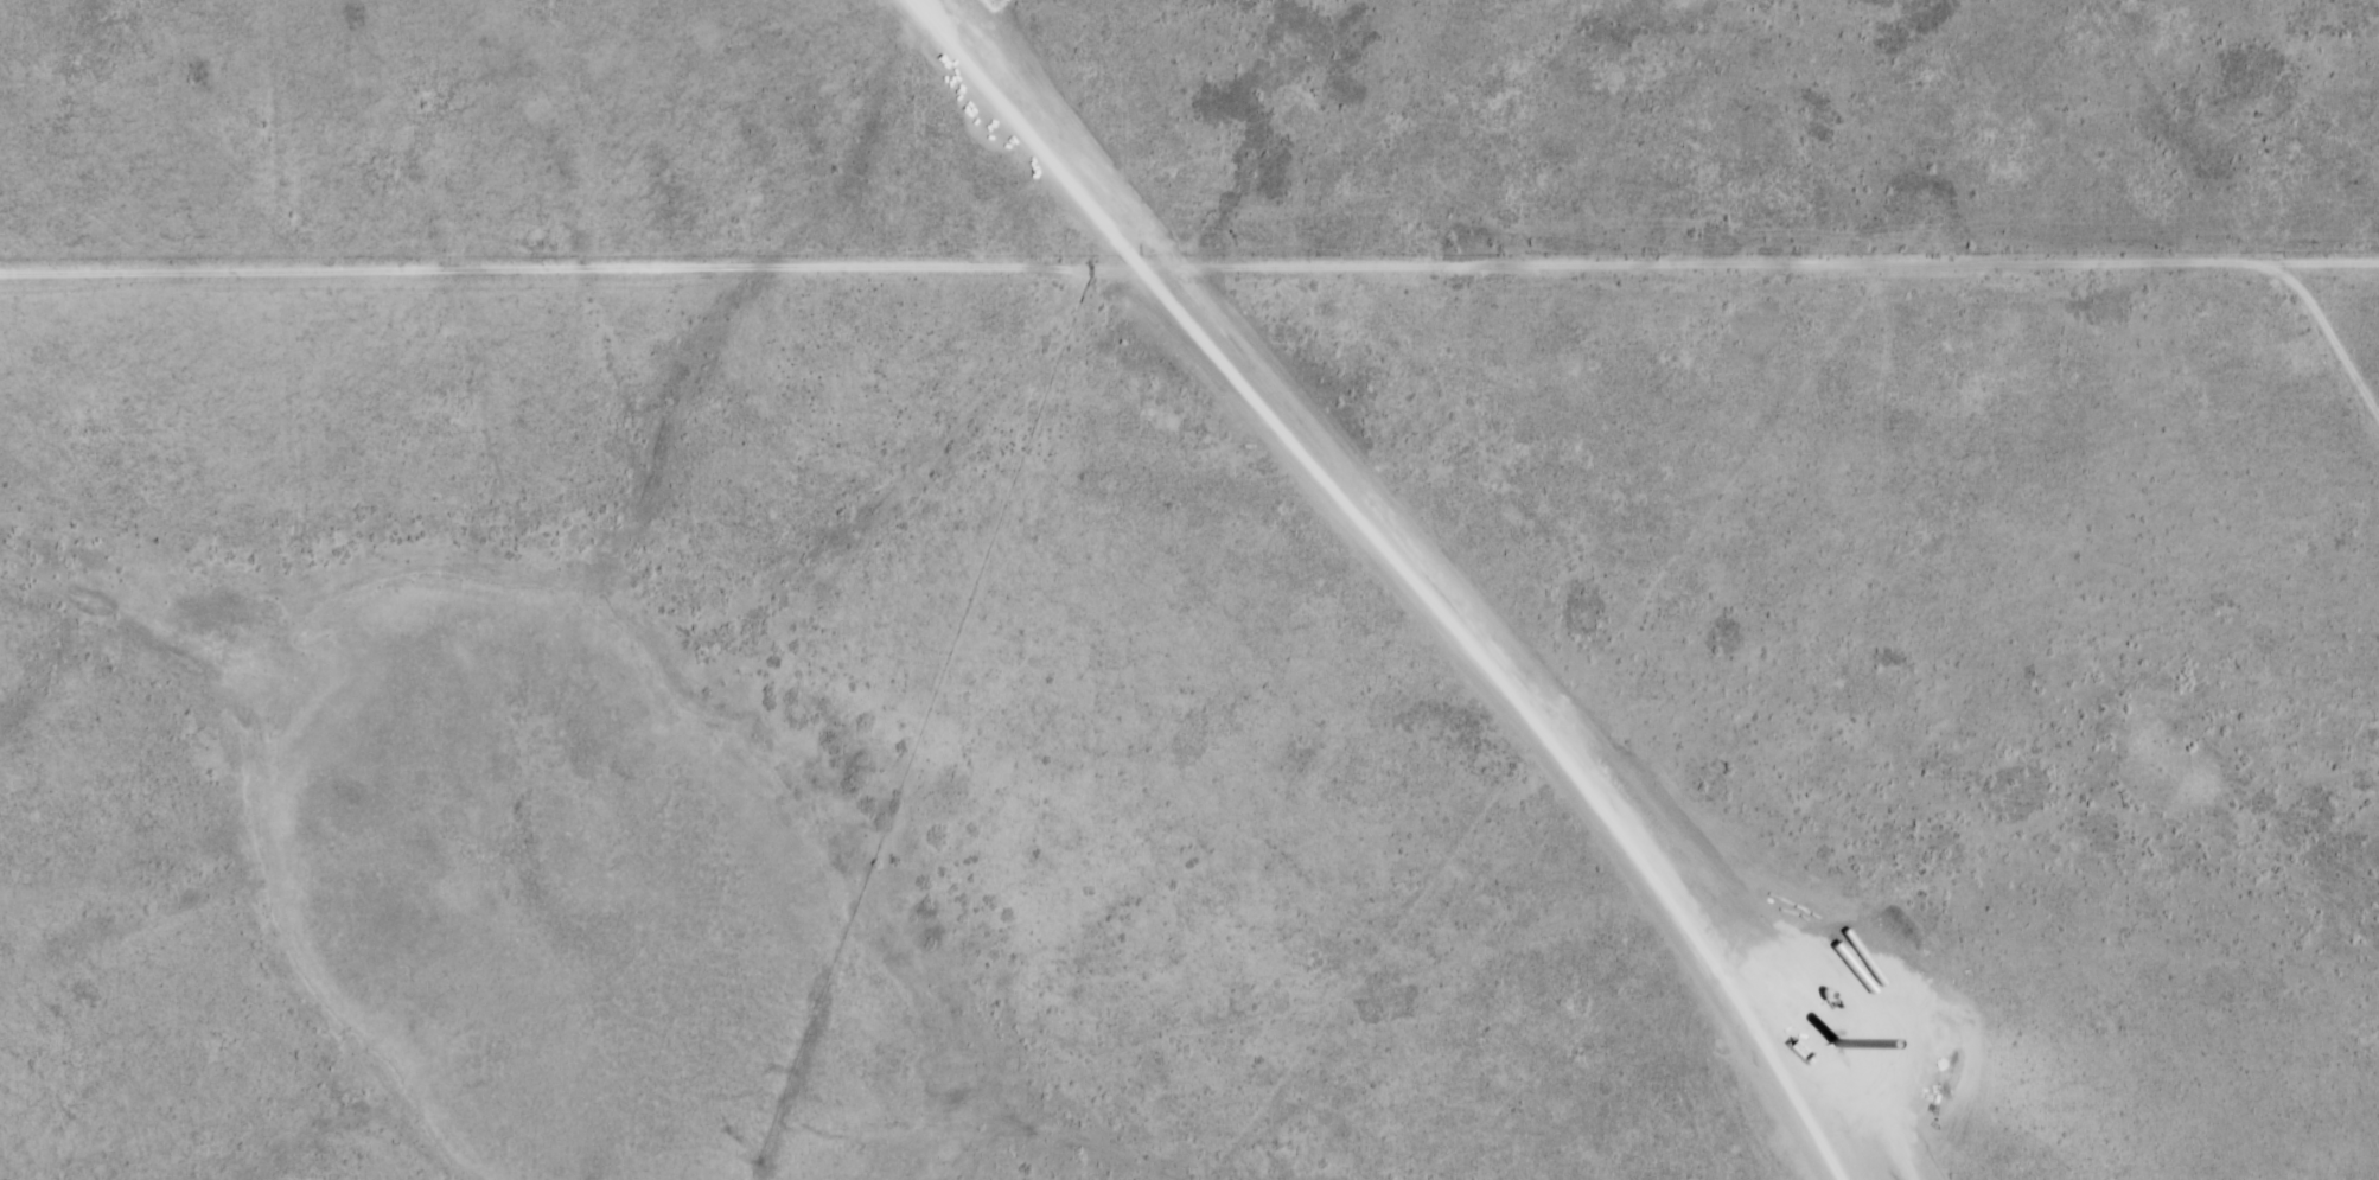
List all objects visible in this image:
wind turbine: (1822, 1038)

